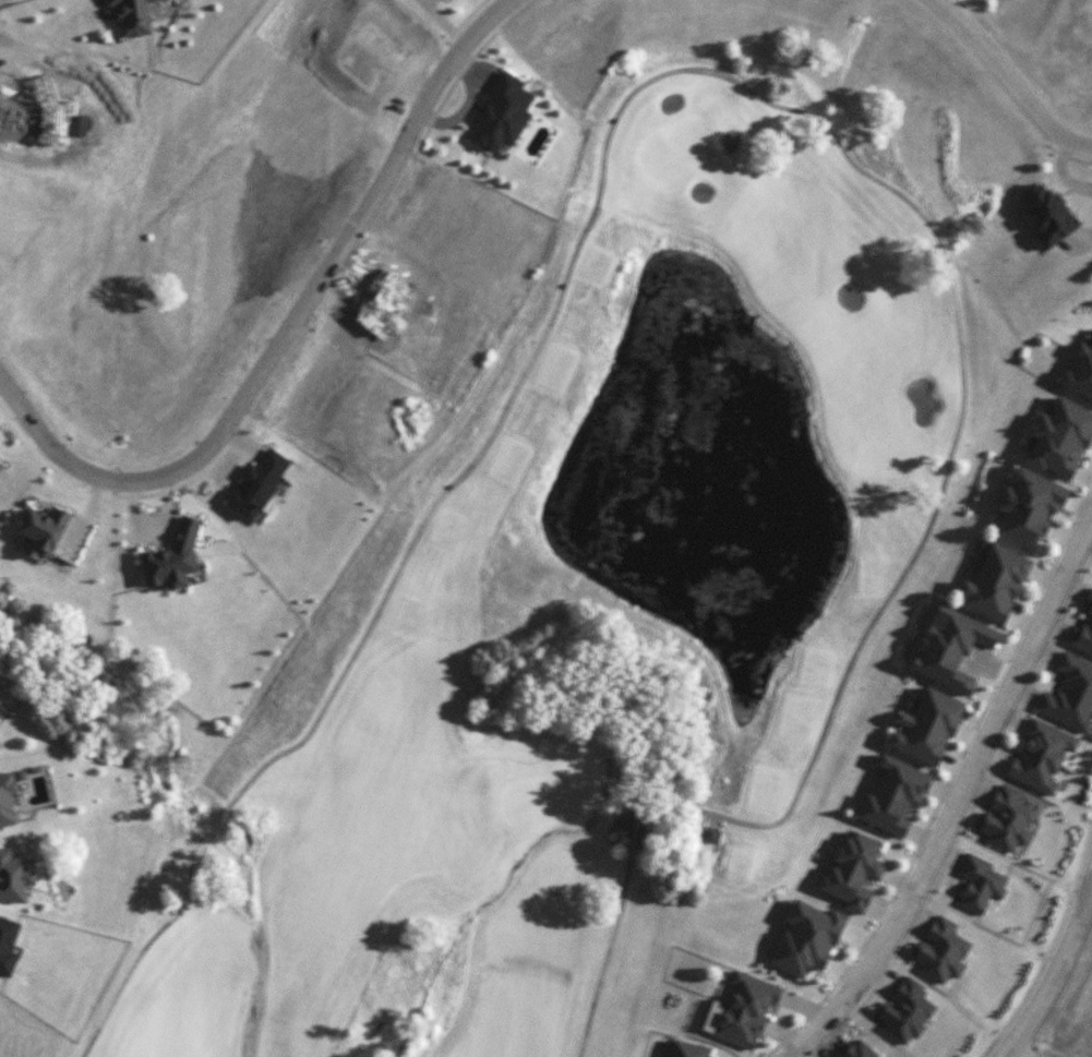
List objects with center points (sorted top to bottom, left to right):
building: (132, 16)
road: (1008, 80)
road: (755, 95)
building: (515, 122)
building: (1045, 211)
road: (286, 333)
building: (1080, 369)
building: (1057, 439)
building: (257, 485)
building: (1027, 512)
building: (43, 530)
building: (173, 557)
building: (991, 582)
park: (586, 614)
building: (1082, 633)
building: (955, 650)
building: (1070, 695)
building: (0, 722)
building: (925, 724)
building: (1042, 756)
building: (893, 797)
road: (956, 797)
building: (8, 800)
building: (1007, 819)
building: (710, 834)
building: (853, 872)
building: (14, 876)
building: (980, 884)
building: (806, 937)
building: (8, 946)
building: (941, 950)
road: (1056, 964)
building: (737, 1011)
building: (691, 1049)

